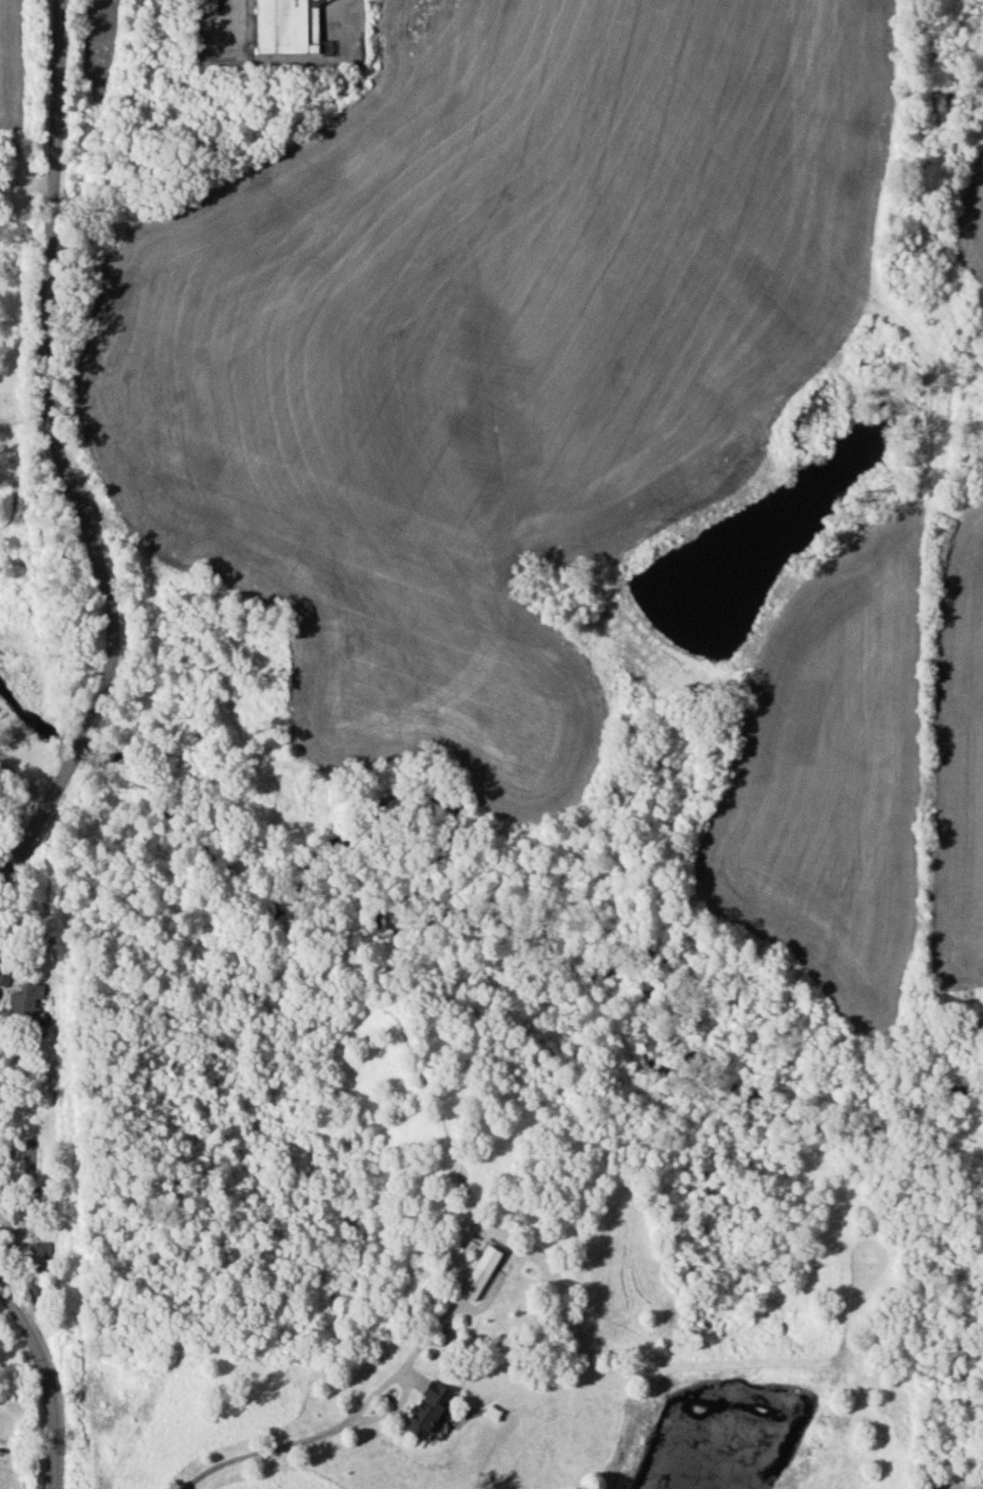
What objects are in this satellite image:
building: (207, 5)
building: (285, 26)
road: (25, 187)
road: (68, 459)
road: (26, 782)
building: (4, 975)
building: (25, 995)
building: (41, 1251)
road: (16, 1269)
building: (479, 1272)
road: (406, 1375)
road: (51, 1381)
building: (426, 1408)
road: (255, 1448)

